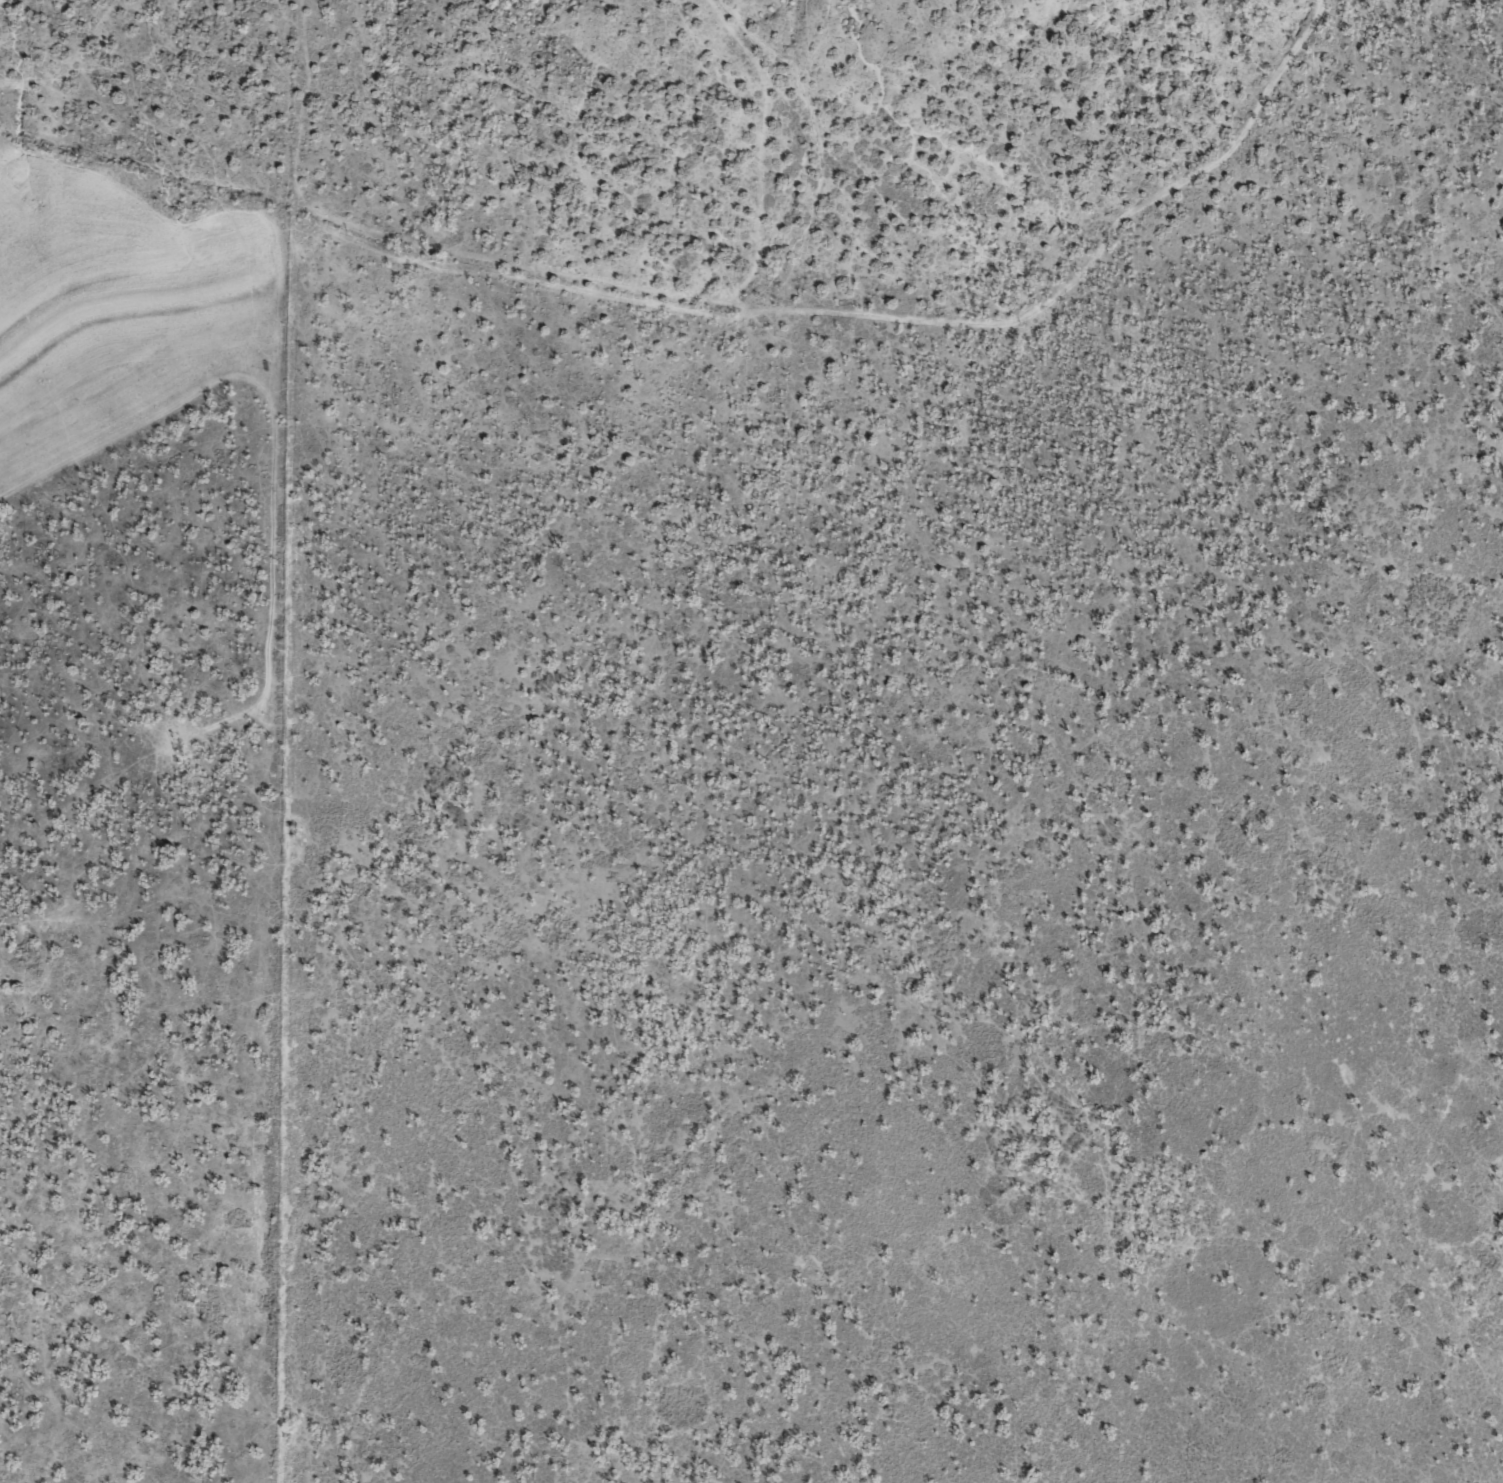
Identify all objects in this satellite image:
road: (718, 295)

